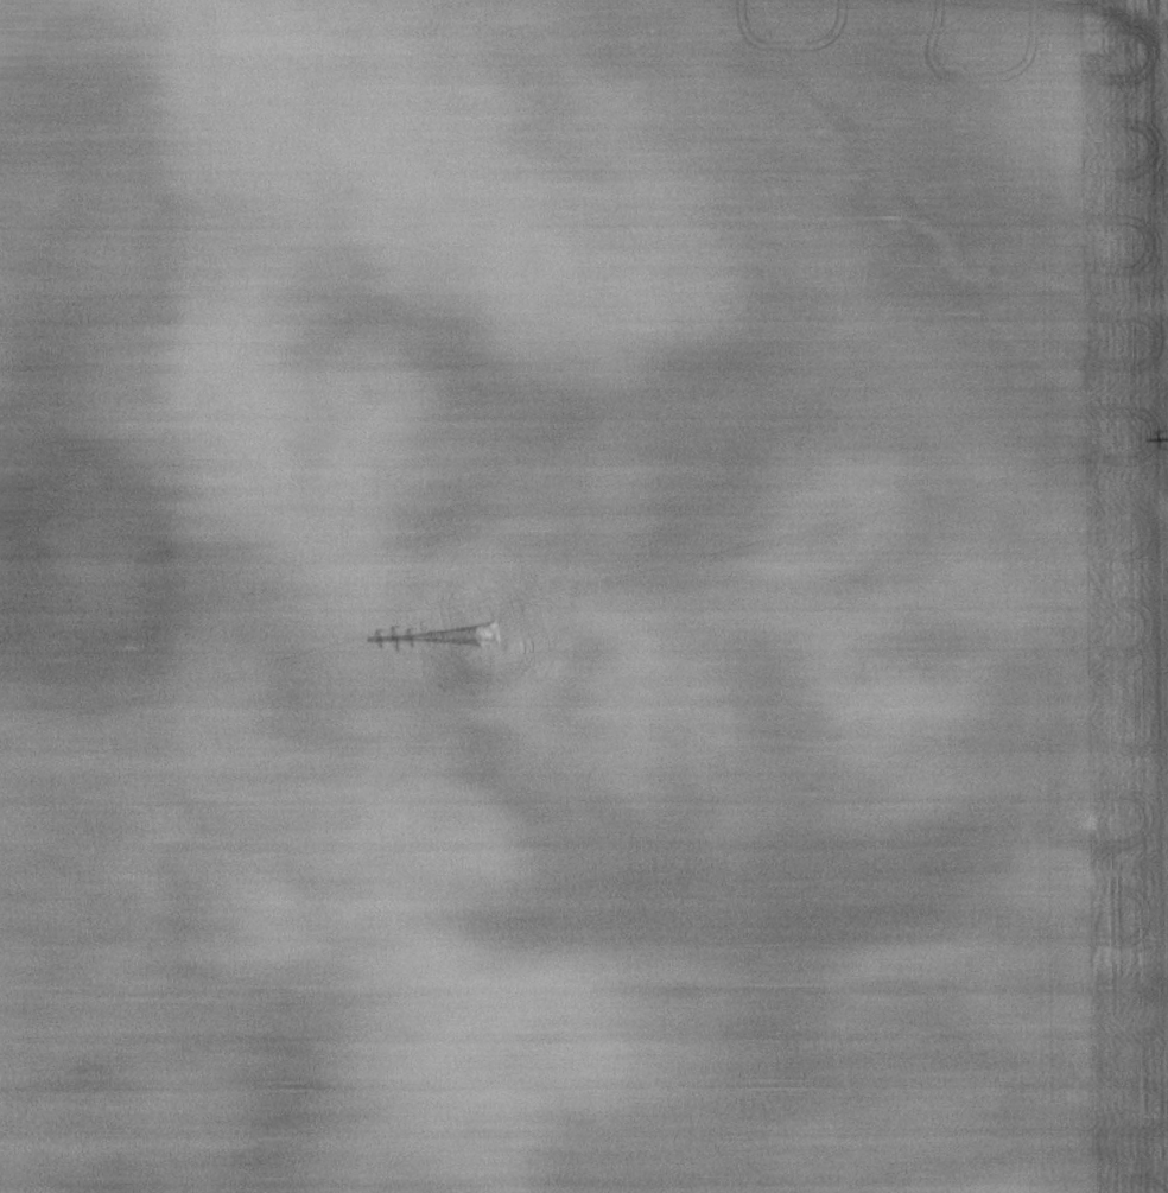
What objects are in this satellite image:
power tower: (483, 632)

